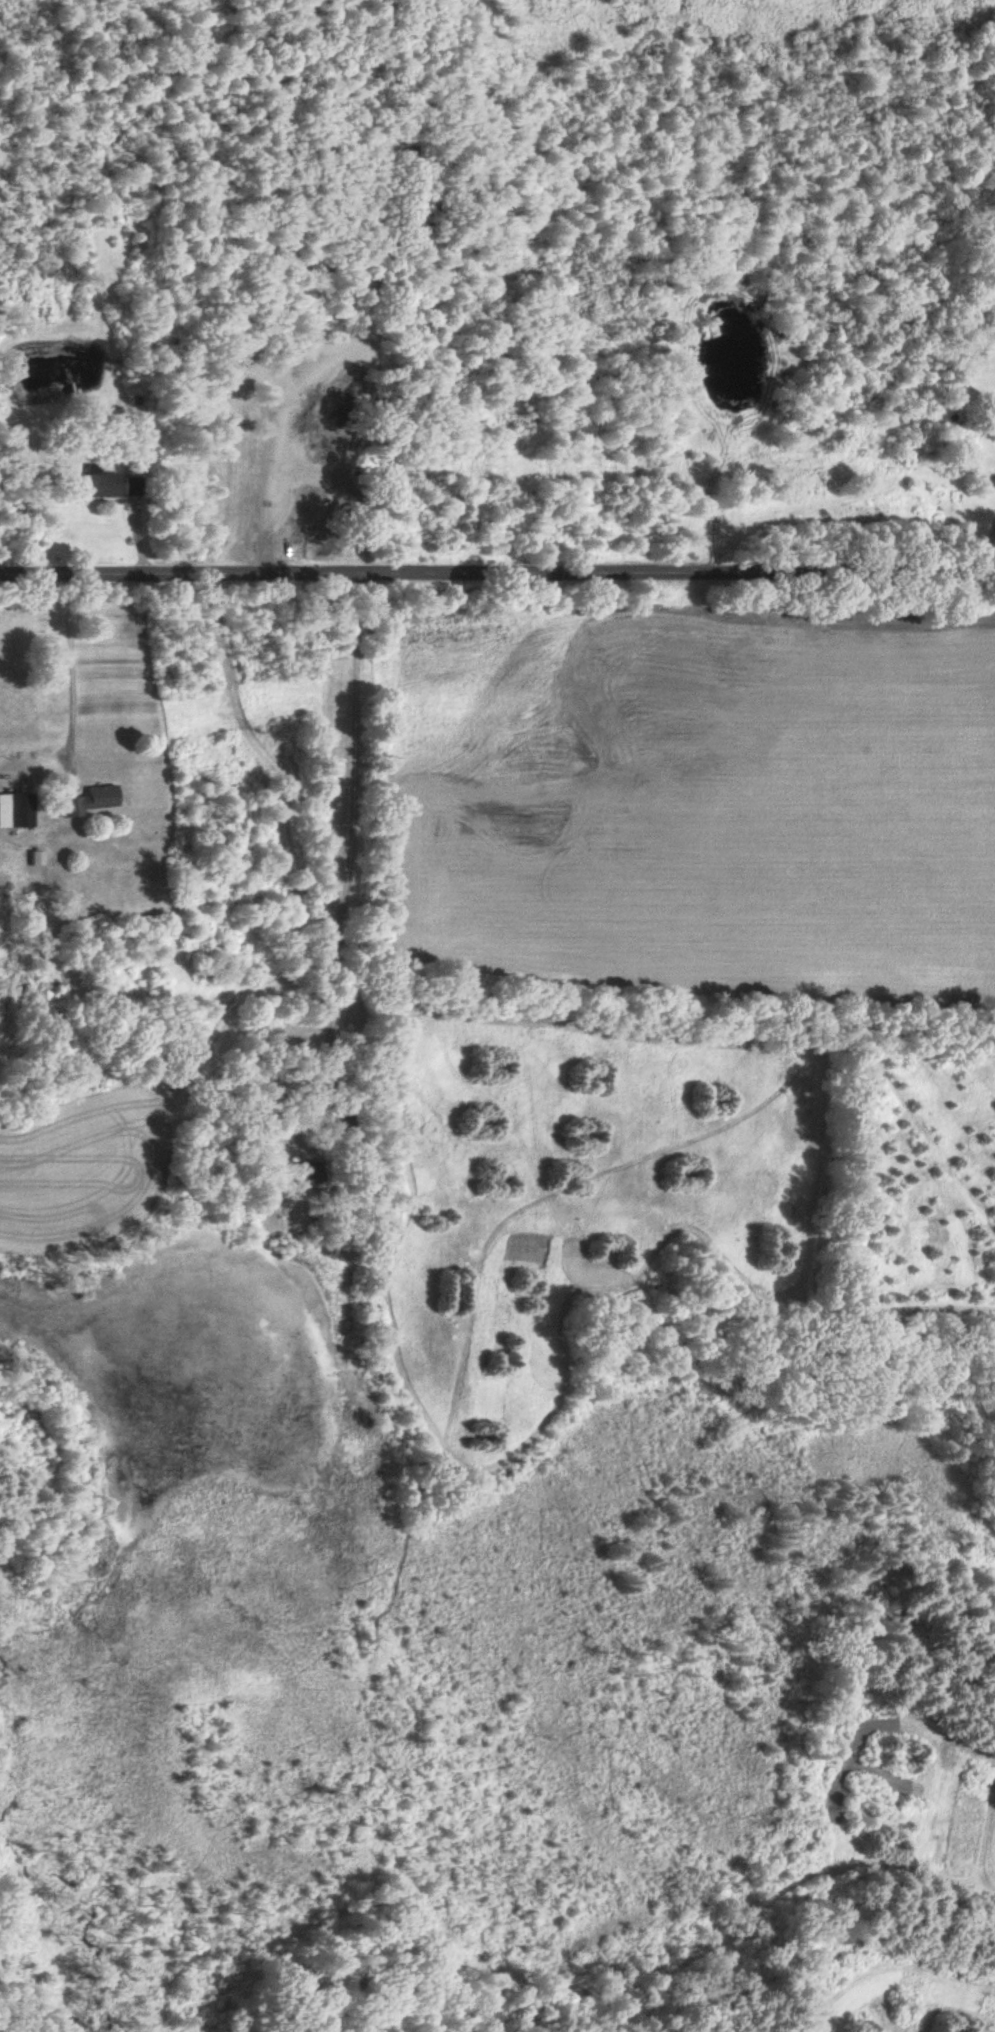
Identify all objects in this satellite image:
building: (981, 253)
building: (99, 482)
road: (990, 552)
road: (497, 573)
road: (69, 666)
building: (85, 800)
building: (14, 810)
road: (351, 841)
building: (301, 1182)

